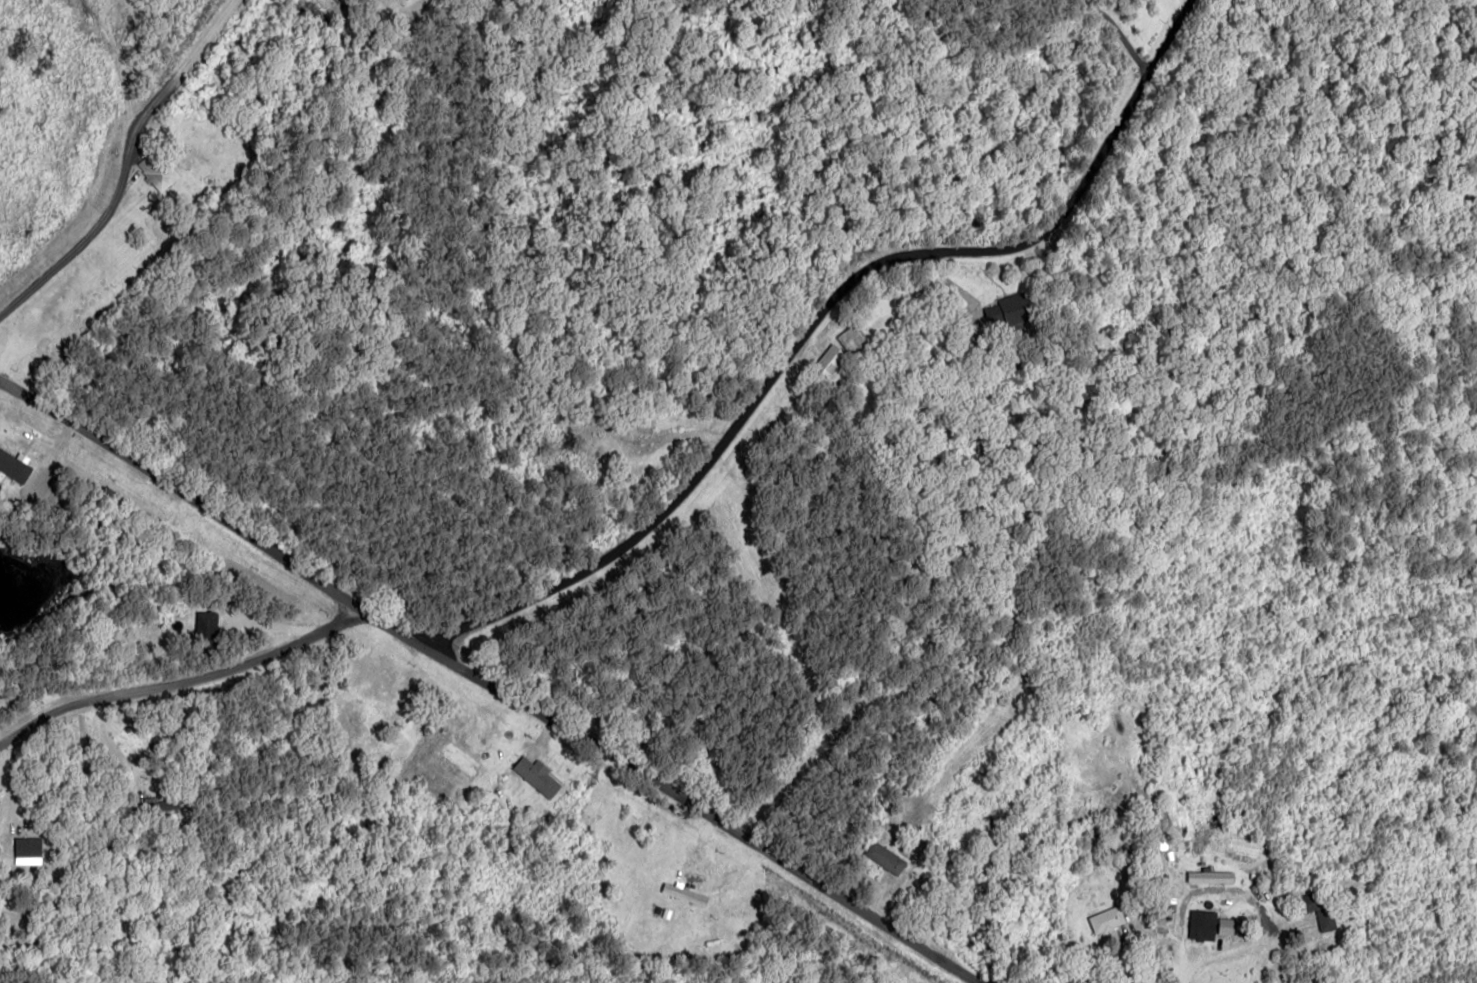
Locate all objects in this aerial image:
building: (157, 170)
building: (1005, 305)
building: (852, 339)
road: (844, 358)
building: (831, 359)
building: (15, 465)
road: (1204, 478)
road: (1191, 629)
road: (179, 644)
road: (485, 671)
building: (537, 776)
building: (28, 847)
building: (884, 857)
building: (1210, 876)
building: (1319, 909)
building: (1107, 920)
building: (1203, 925)
building: (1226, 926)

